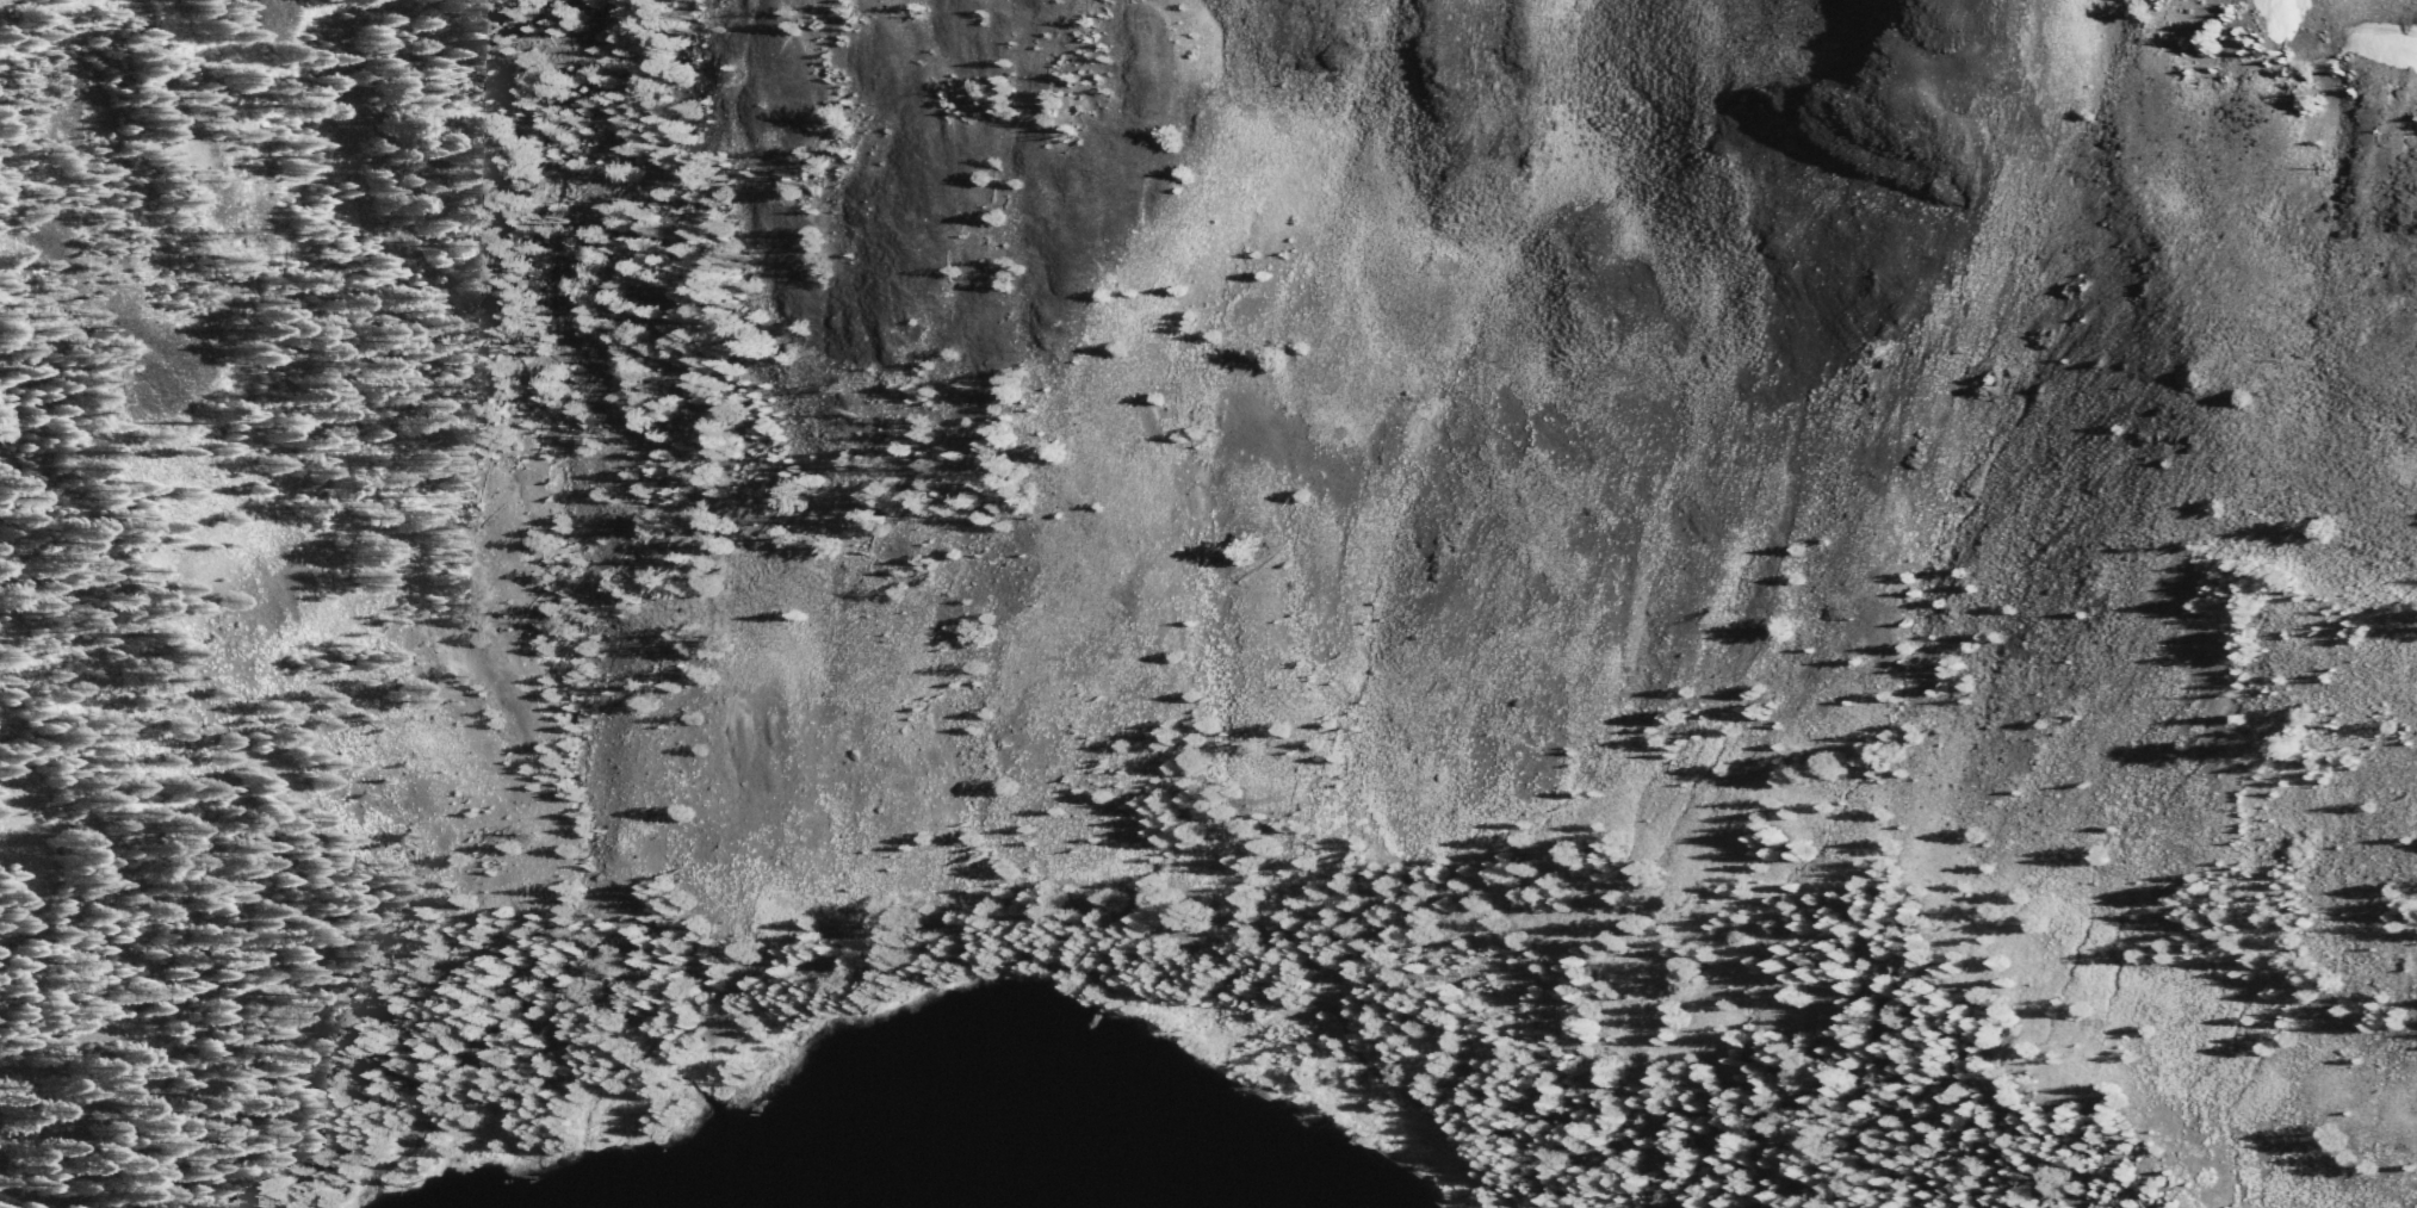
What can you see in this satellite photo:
road: (731, 961)

